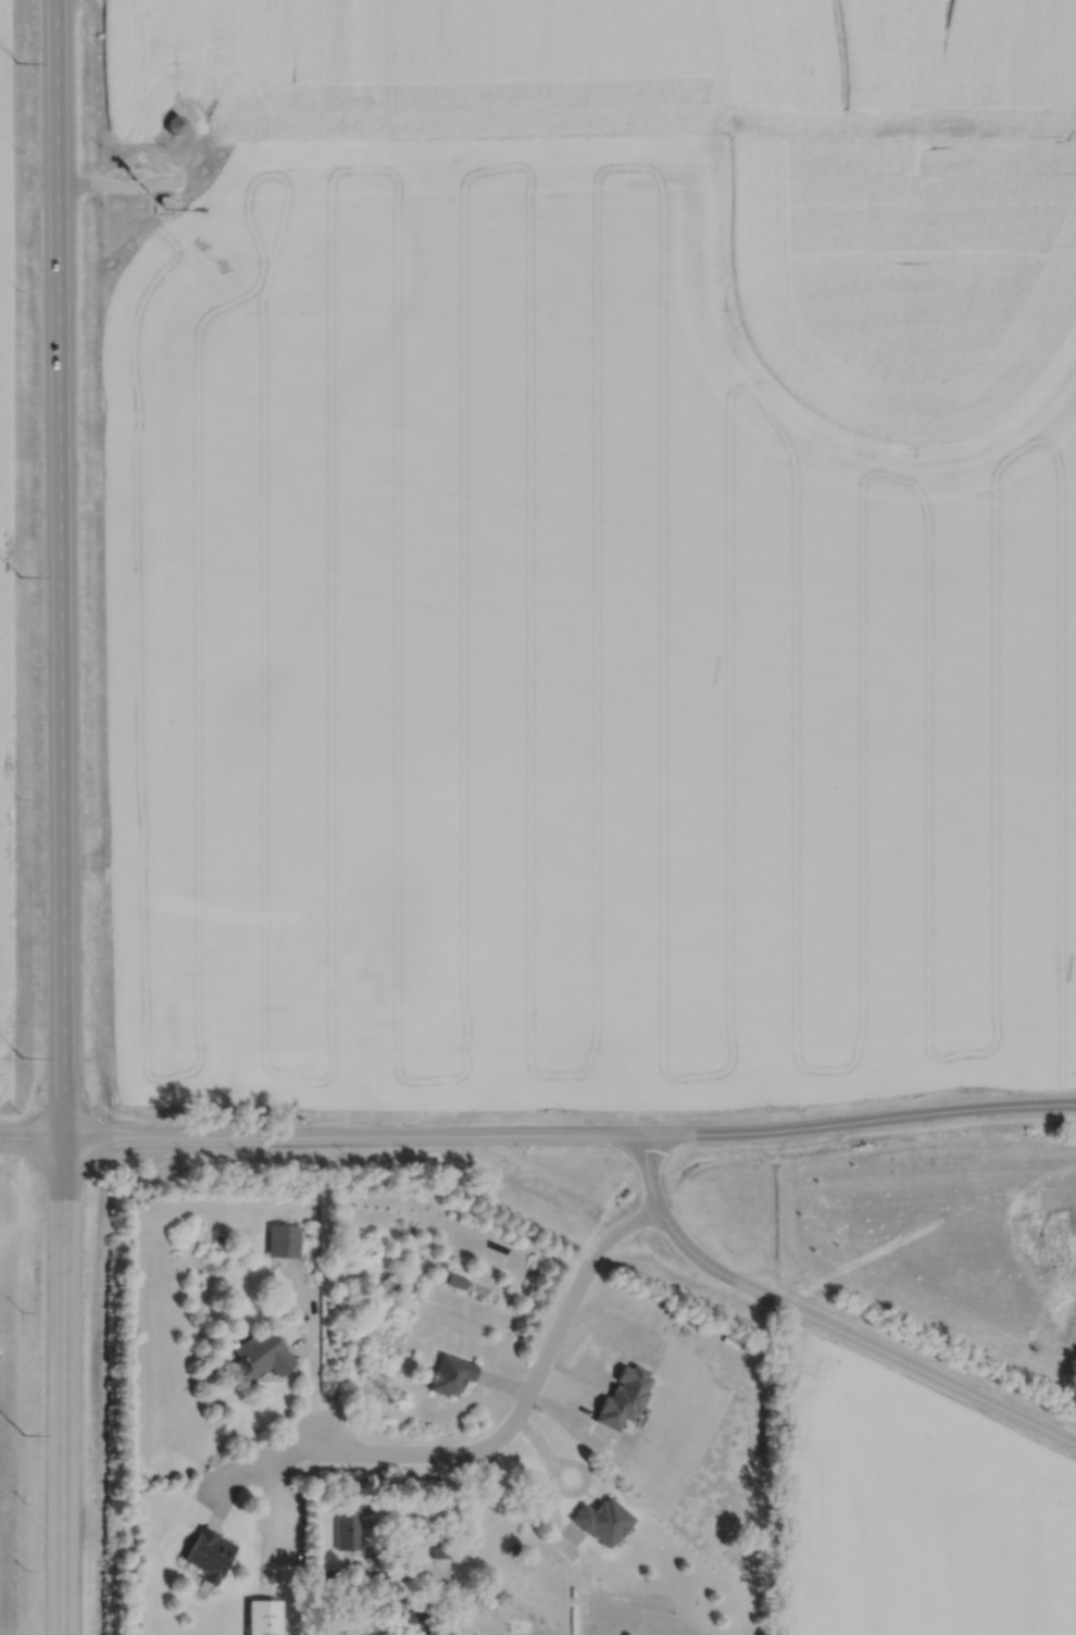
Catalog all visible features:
power tower: (16, 64)
building: (175, 124)
silo: (175, 124)
road: (121, 183)
building: (164, 199)
power tower: (18, 576)
road: (61, 816)
power tower: (21, 1057)
road: (538, 1137)
building: (279, 1241)
building: (453, 1281)
road: (824, 1324)
building: (255, 1356)
building: (447, 1375)
road: (523, 1393)
building: (620, 1397)
power tower: (20, 1435)
road: (249, 1462)
road: (273, 1502)
road: (436, 1508)
building: (599, 1521)
building: (342, 1531)
building: (438, 1549)
building: (204, 1556)
building: (260, 1618)
building: (412, 1622)

